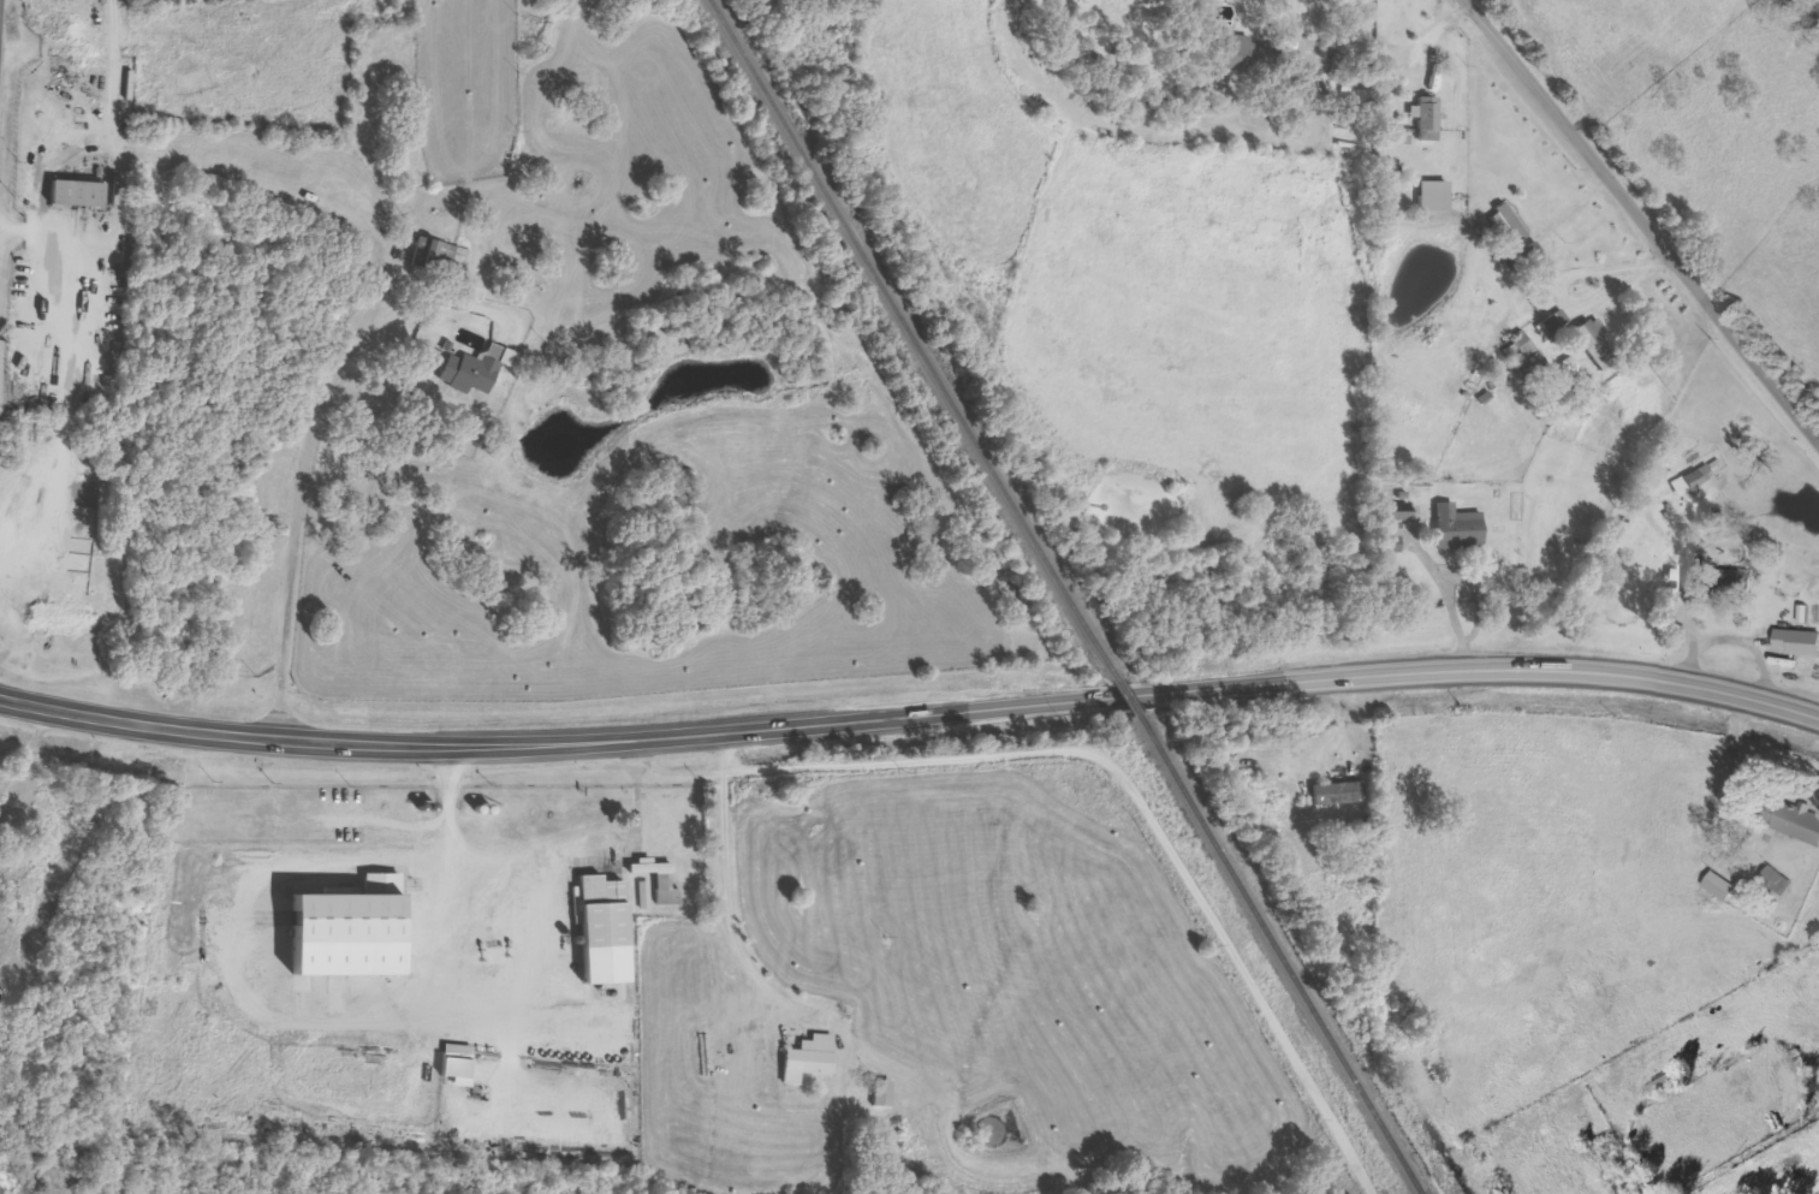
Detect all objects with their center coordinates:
building: (1243, 52)
building: (1428, 118)
building: (79, 195)
building: (1435, 196)
road: (1646, 216)
building: (1508, 222)
building: (442, 257)
building: (1551, 326)
railway: (915, 340)
building: (1598, 344)
building: (1529, 357)
building: (477, 369)
building: (1693, 480)
building: (1401, 515)
building: (1460, 527)
road: (299, 533)
building: (1392, 537)
building: (1718, 584)
building: (1799, 642)
railway: (1129, 696)
road: (910, 723)
building: (1339, 794)
building: (1794, 819)
road: (1034, 845)
building: (1779, 880)
building: (1723, 886)
building: (646, 896)
building: (605, 913)
building: (351, 929)
railway: (1279, 954)
building: (810, 1059)
building: (459, 1064)
building: (885, 1094)

